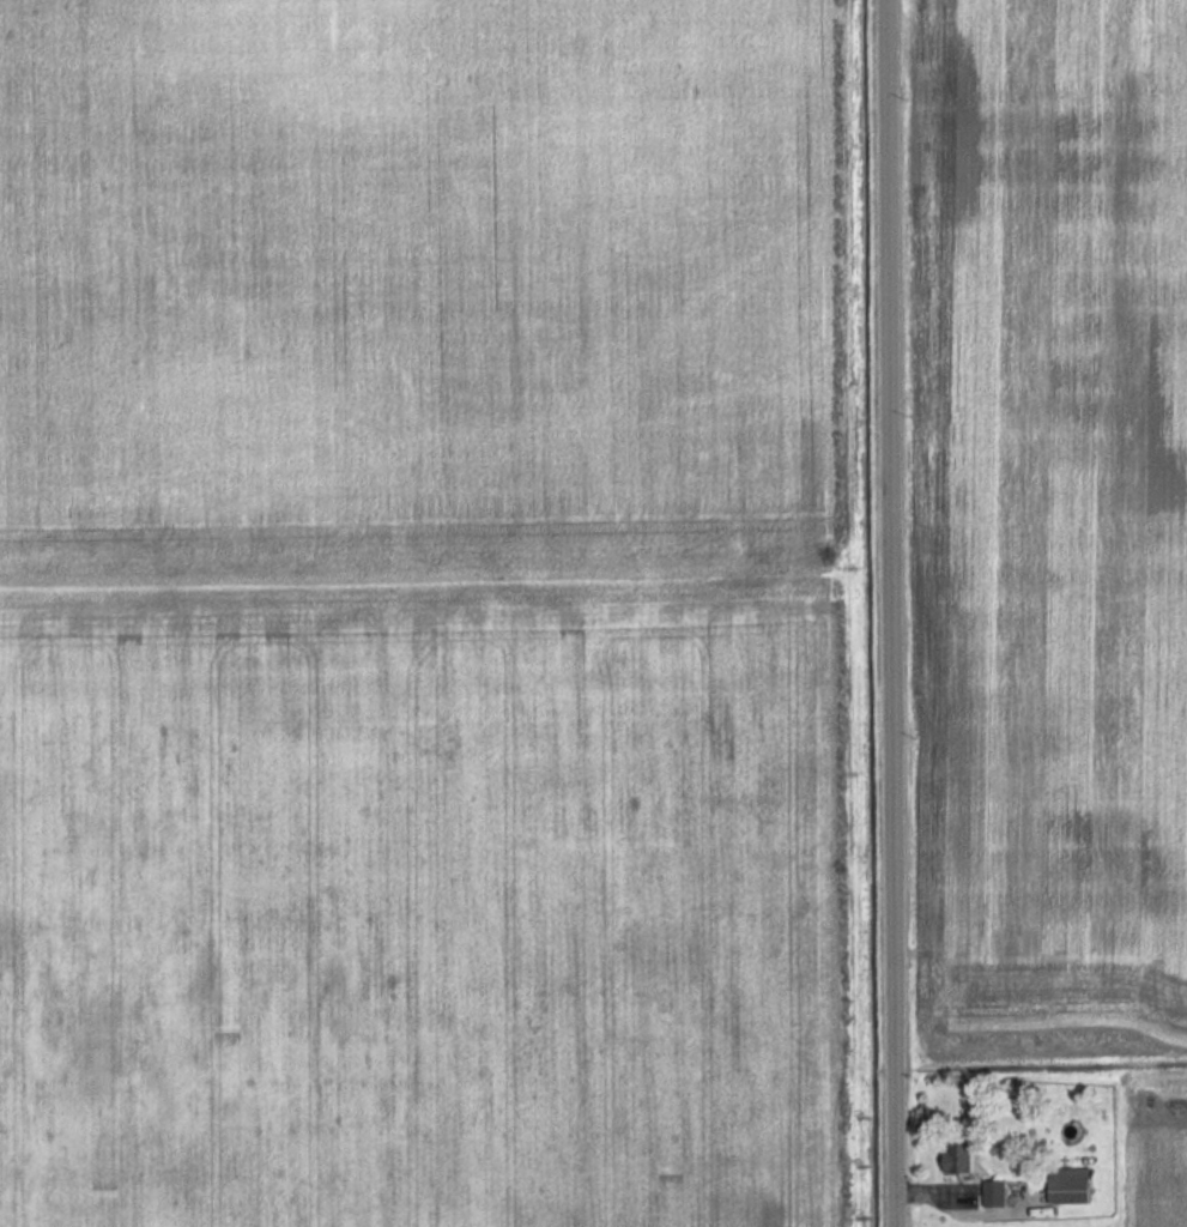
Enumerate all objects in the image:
road: (892, 613)
building: (1071, 1186)
building: (992, 1192)

